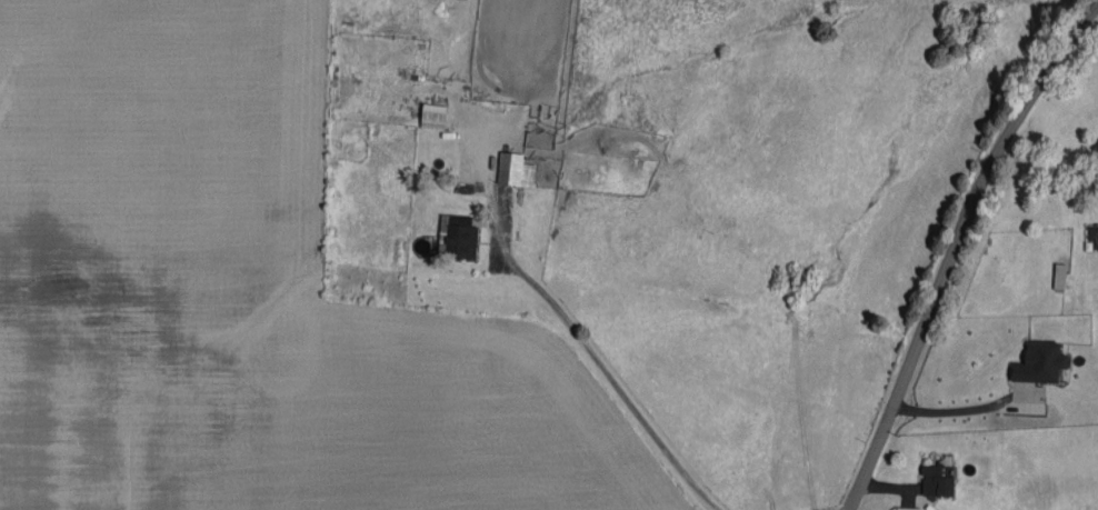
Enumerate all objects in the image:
building: (433, 116)
building: (1097, 142)
building: (515, 169)
building: (459, 237)
road: (942, 242)
building: (1040, 362)
road: (598, 367)
road: (954, 413)
building: (937, 480)
building: (908, 508)

